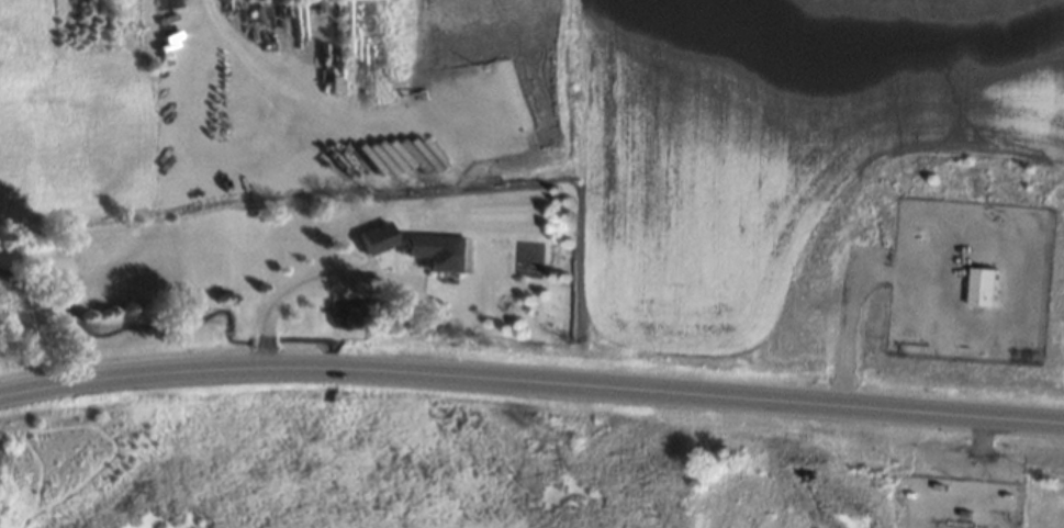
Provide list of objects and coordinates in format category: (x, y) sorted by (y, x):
building: (368, 237)
building: (432, 250)
power substation: (971, 279)
building: (978, 285)
road: (531, 382)
power substation: (963, 502)

